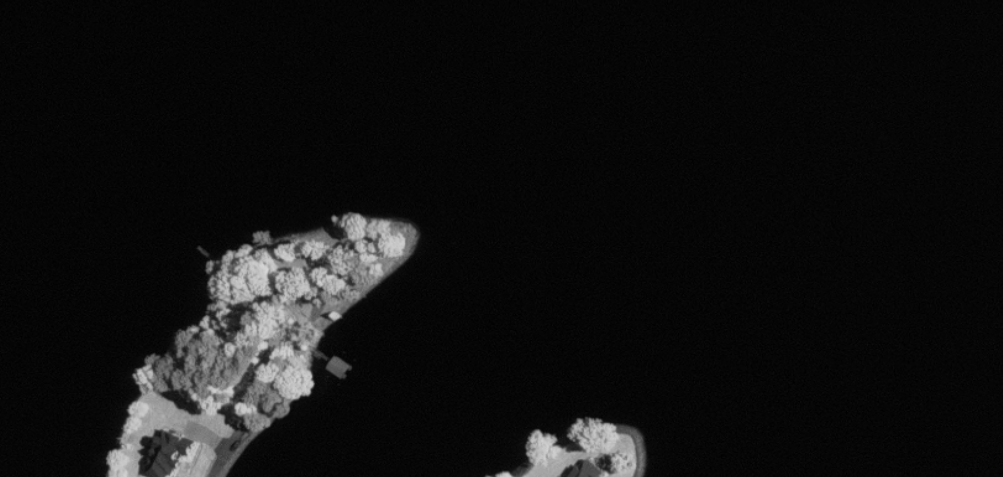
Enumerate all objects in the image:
road: (274, 388)
building: (174, 453)
building: (592, 470)

